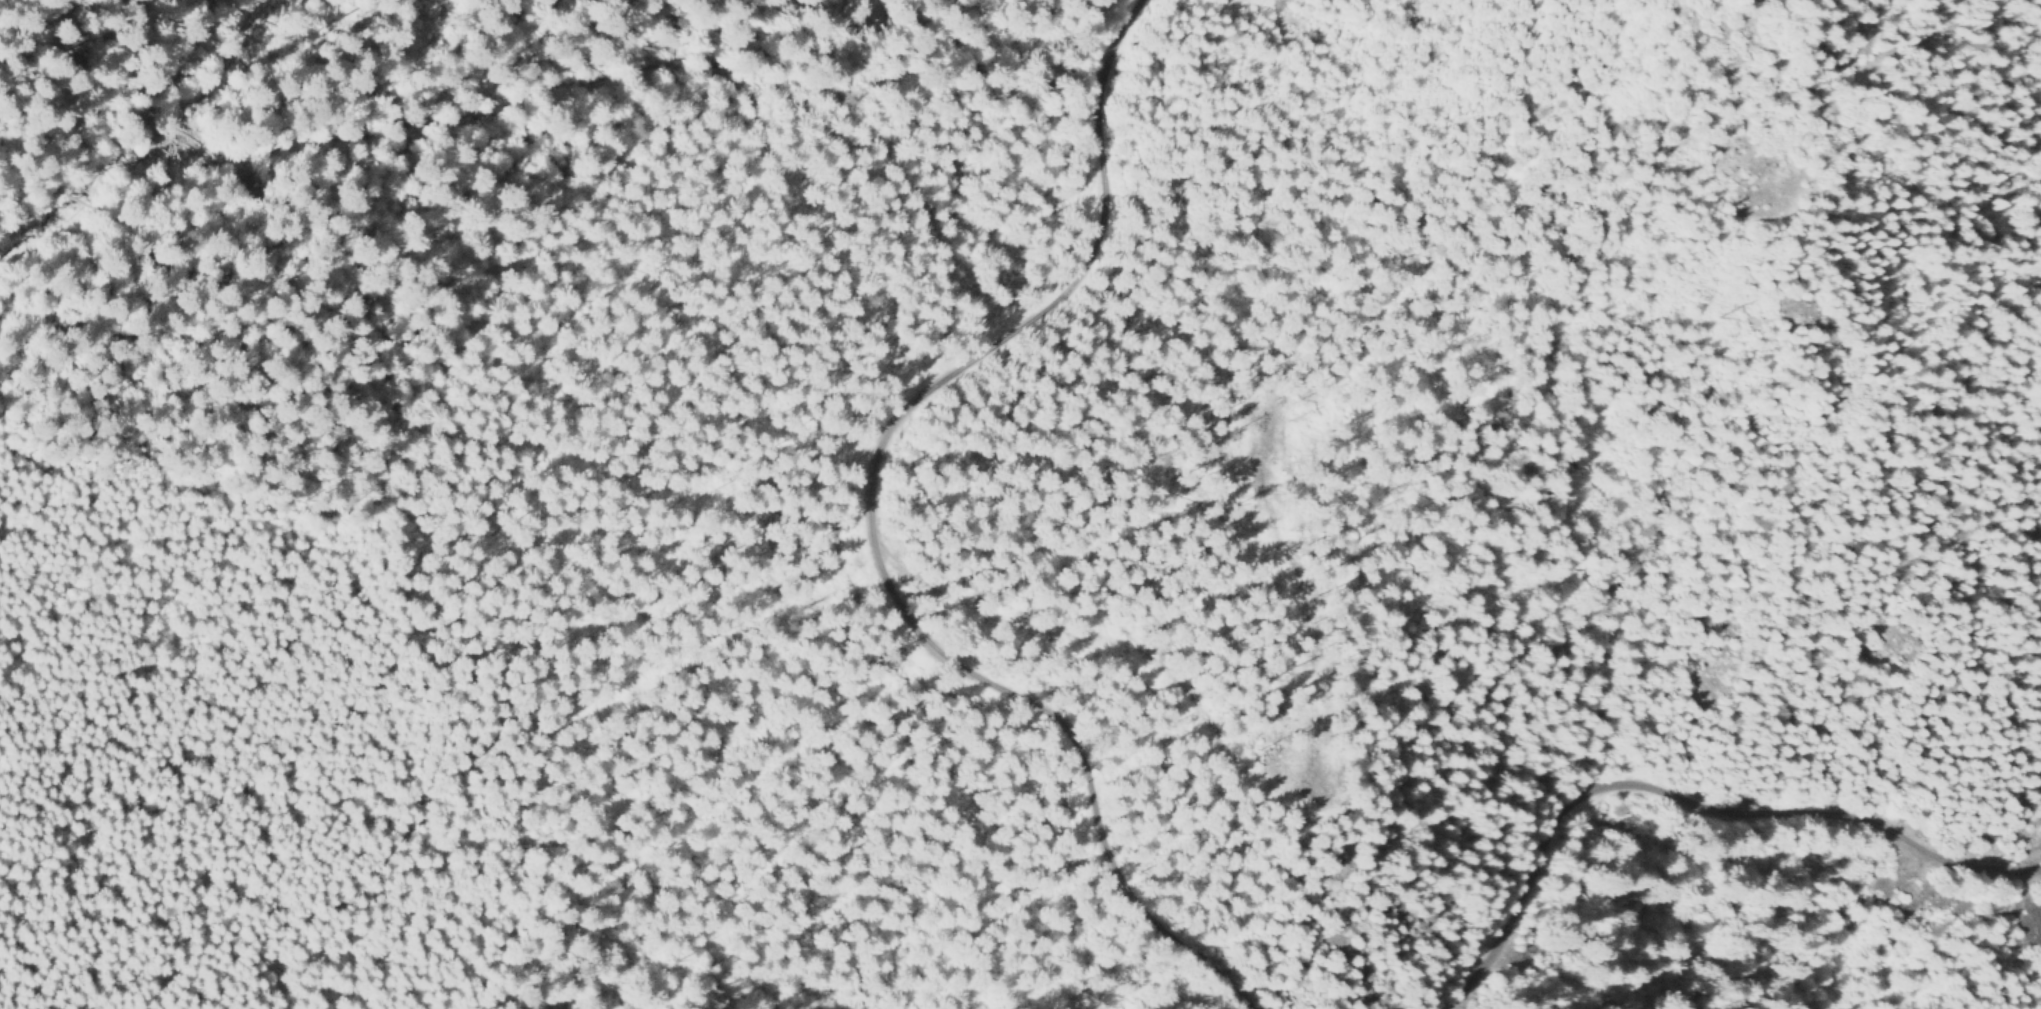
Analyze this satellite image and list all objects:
road: (862, 523)
road: (1682, 806)

